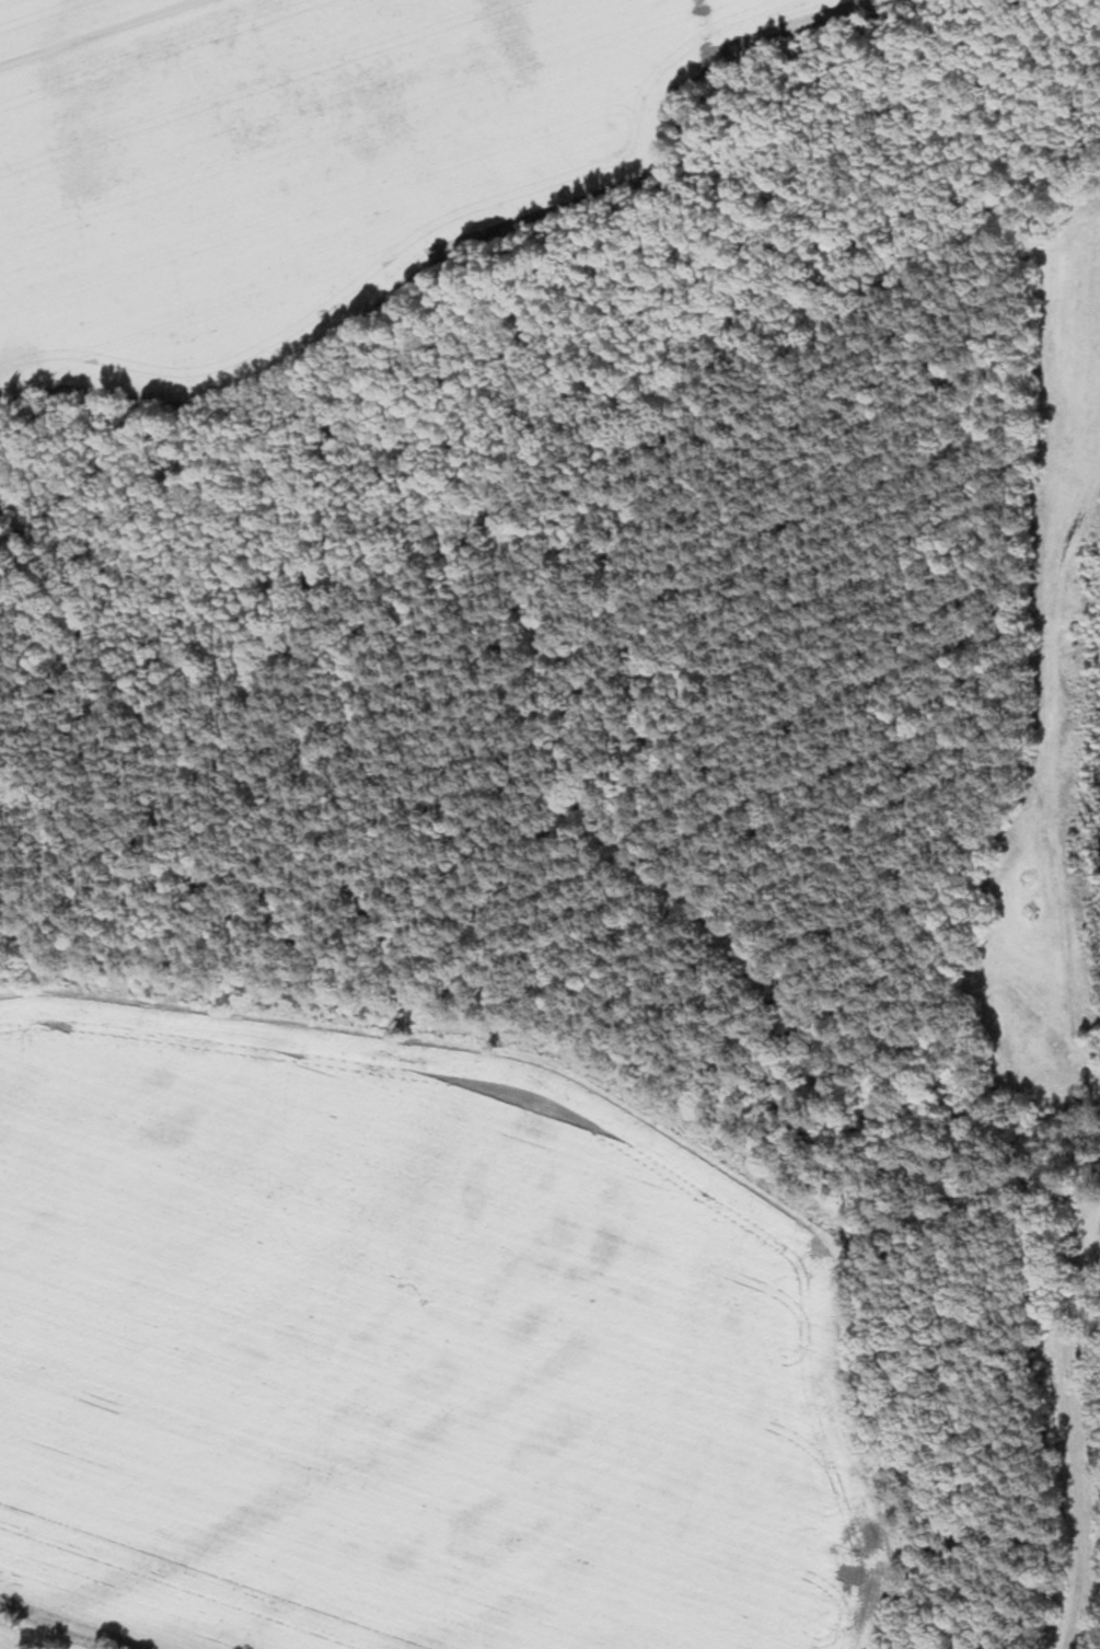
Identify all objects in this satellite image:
road: (100, 32)
road: (1095, 1264)
road: (1073, 1440)
road: (59, 1629)

